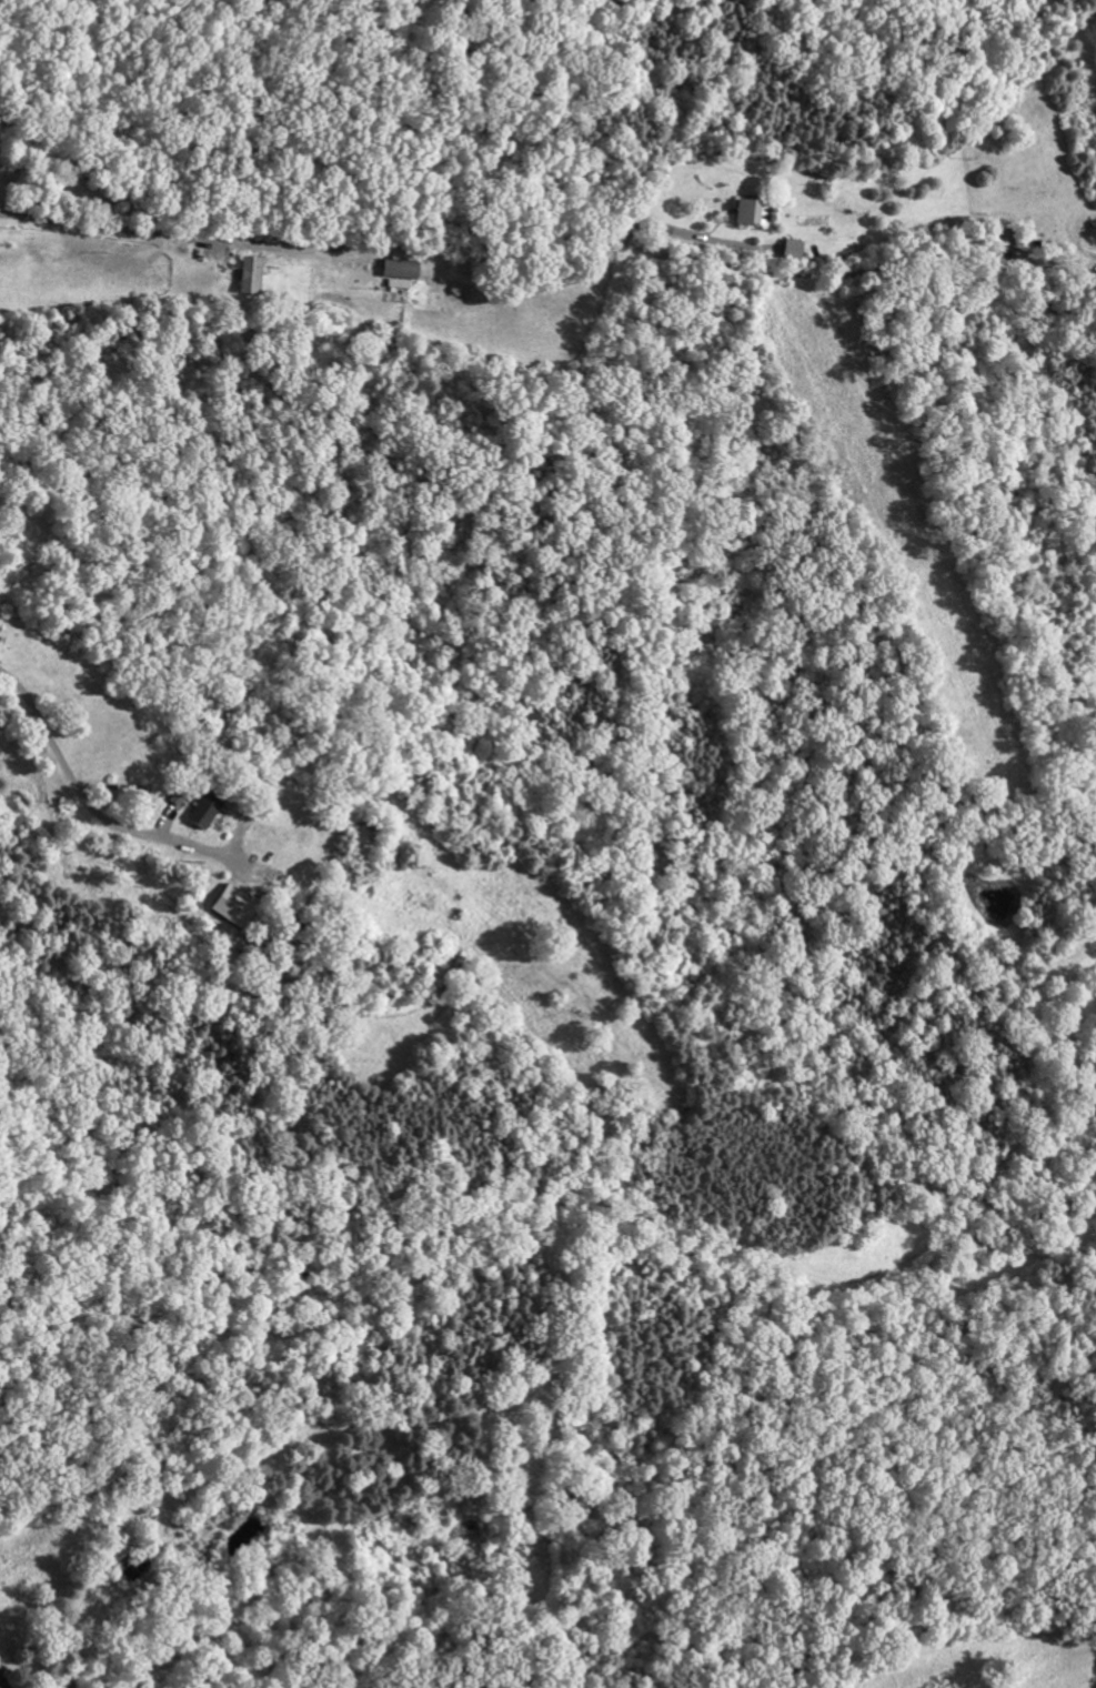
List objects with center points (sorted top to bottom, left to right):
building: (795, 193)
road: (97, 222)
road: (482, 229)
building: (837, 230)
building: (445, 251)
building: (295, 257)
building: (442, 265)
building: (7, 596)
building: (250, 793)
road: (99, 817)
building: (283, 891)
building: (40, 1658)

